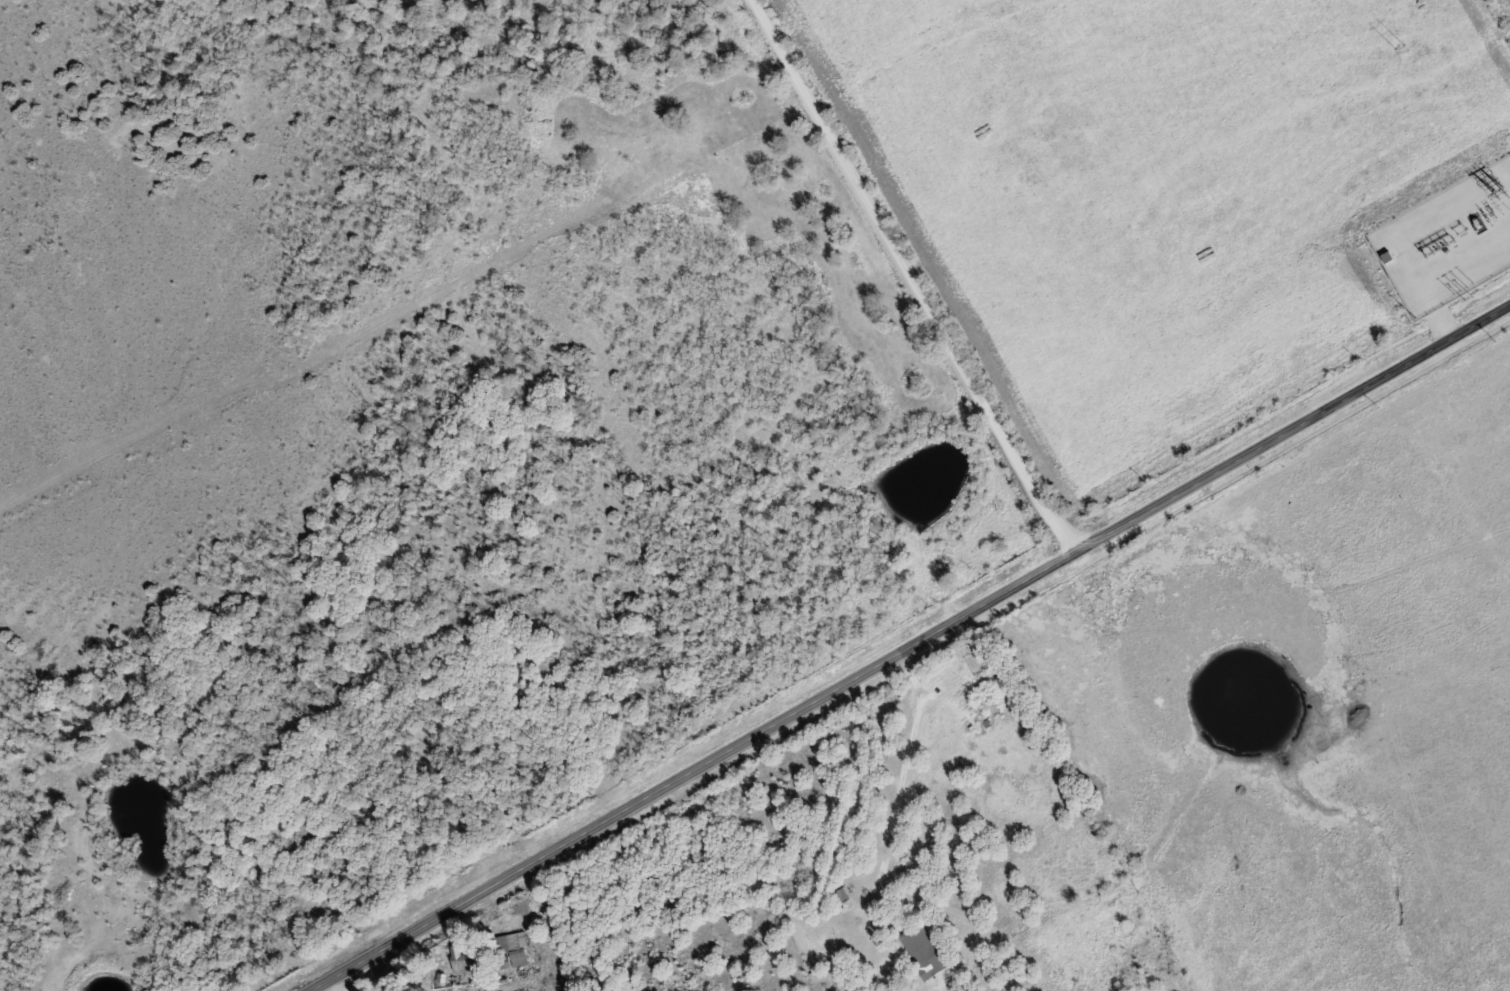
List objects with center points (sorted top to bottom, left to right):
road: (918, 279)
road: (913, 648)
building: (992, 706)
road: (900, 762)
road: (1103, 766)
building: (841, 899)
building: (853, 932)
building: (513, 949)
building: (925, 949)
road: (1278, 952)
building: (466, 956)
road: (339, 986)

